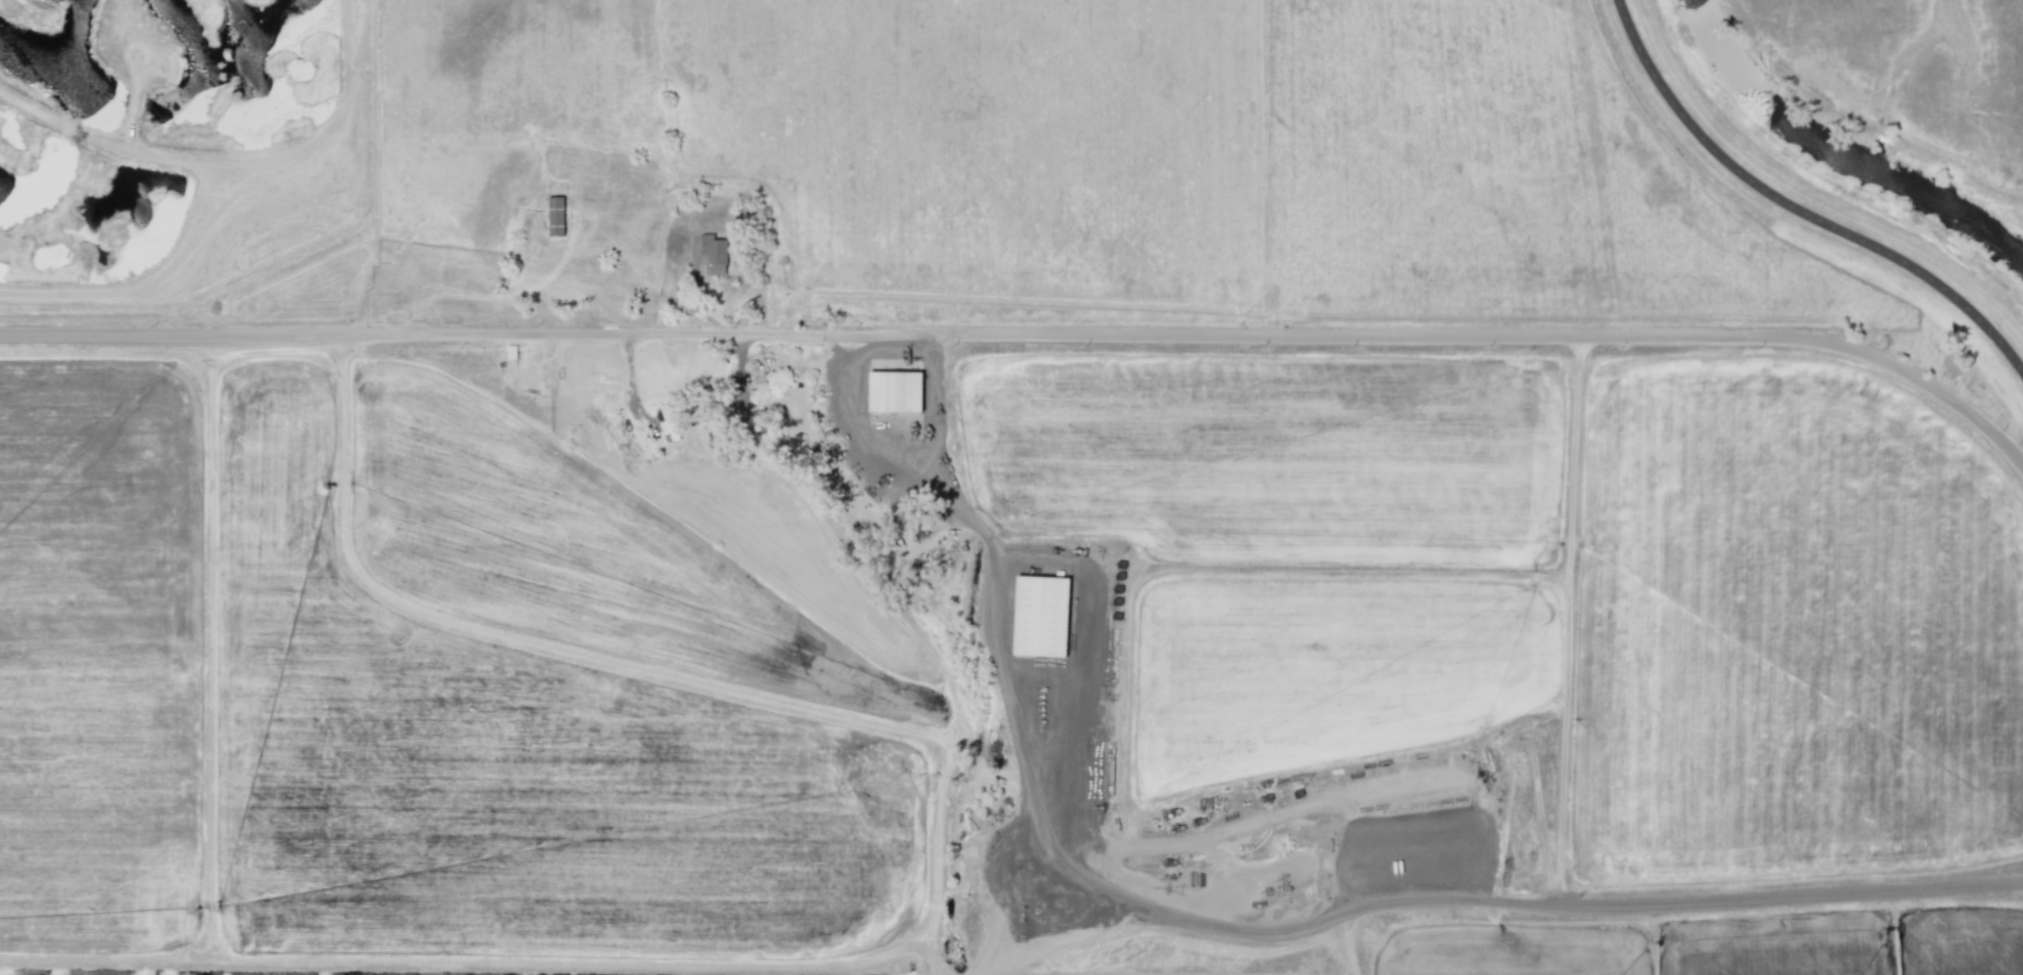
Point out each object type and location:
road: (1796, 209)
building: (555, 216)
building: (713, 254)
road: (1033, 326)
building: (510, 352)
building: (894, 391)
road: (931, 396)
road: (1566, 613)
building: (1040, 616)
road: (1230, 922)

